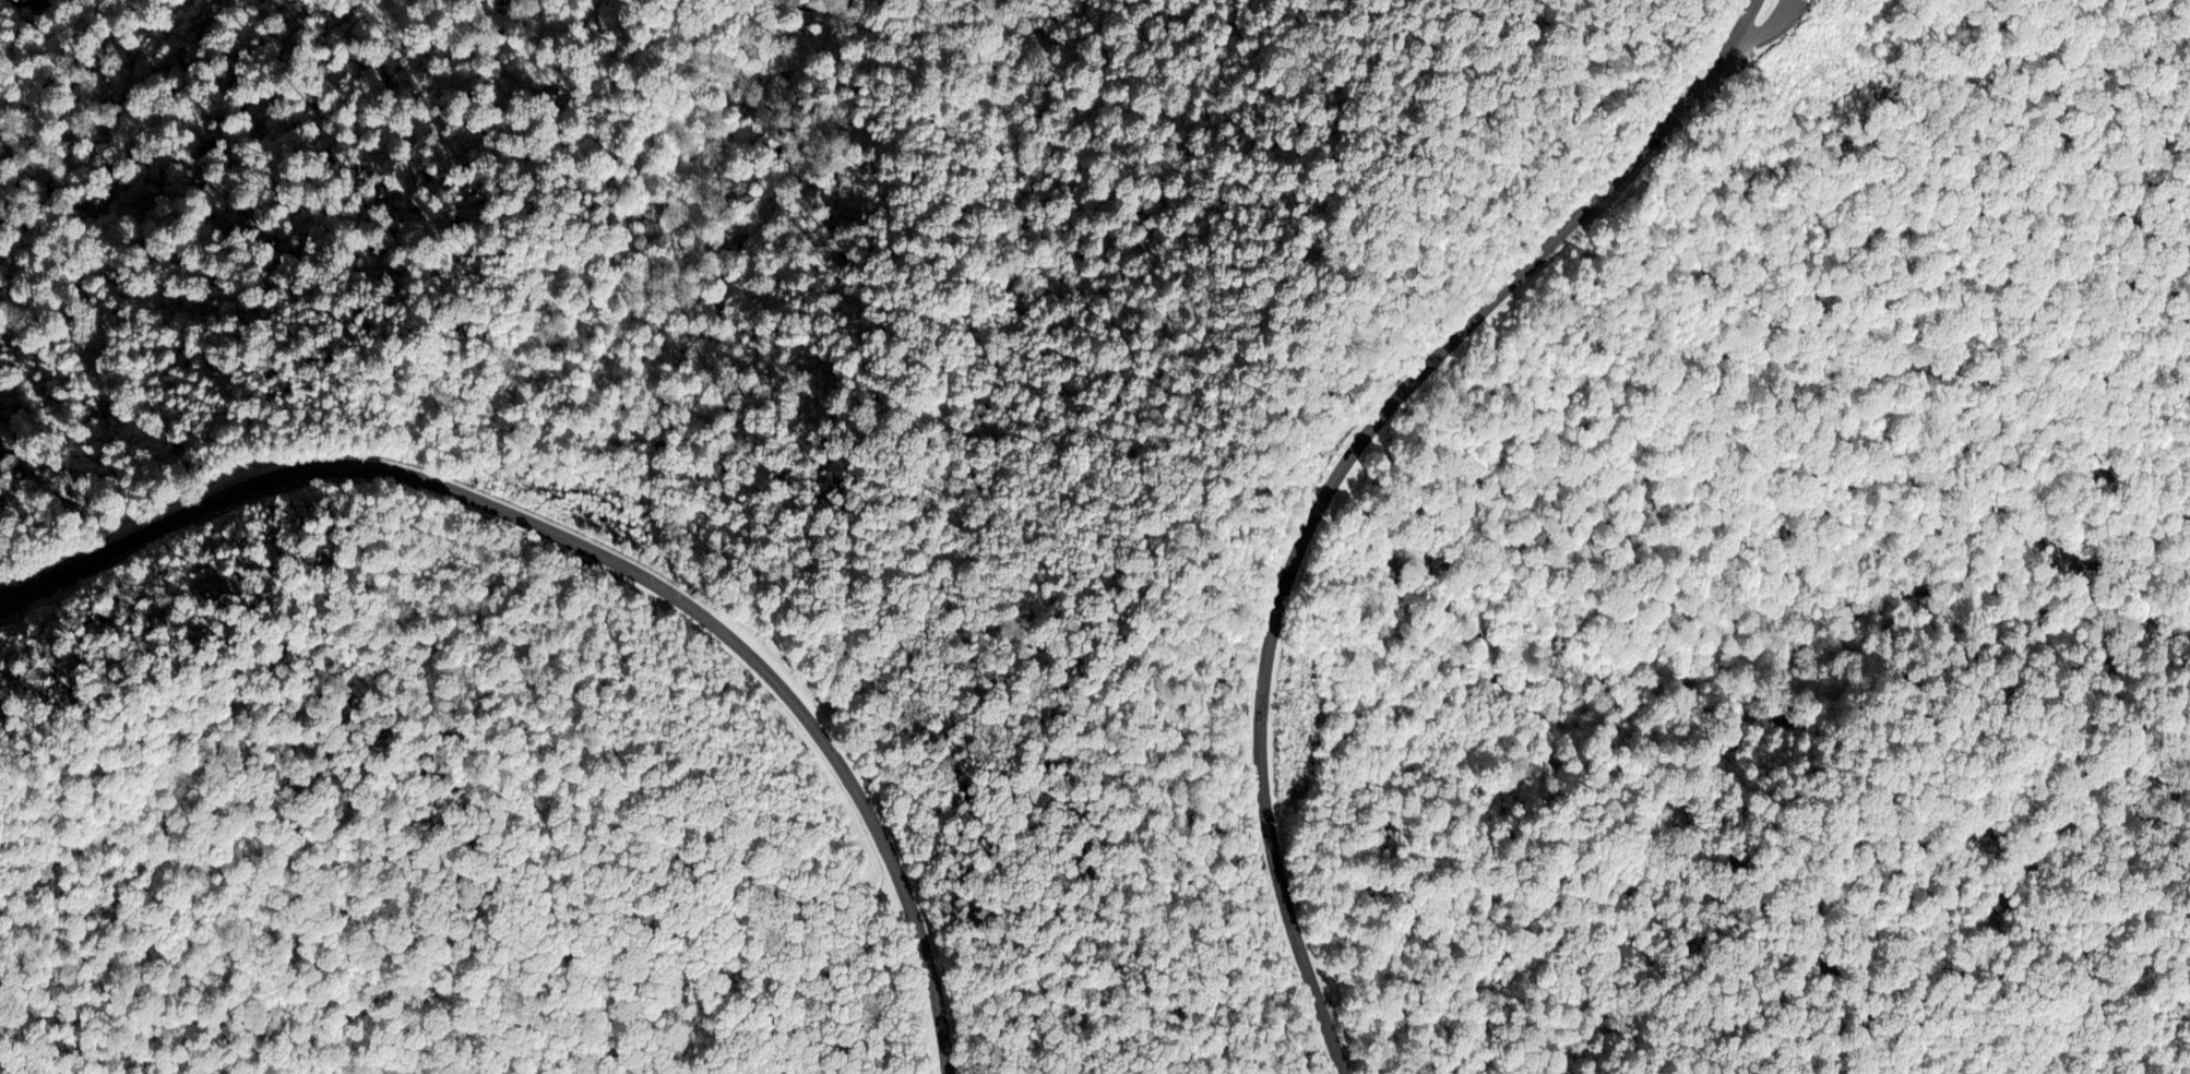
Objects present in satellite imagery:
road: (997, 2)
parking lot: (1771, 23)
road: (1765, 29)
road: (367, 468)
road: (1338, 472)
road: (877, 831)

